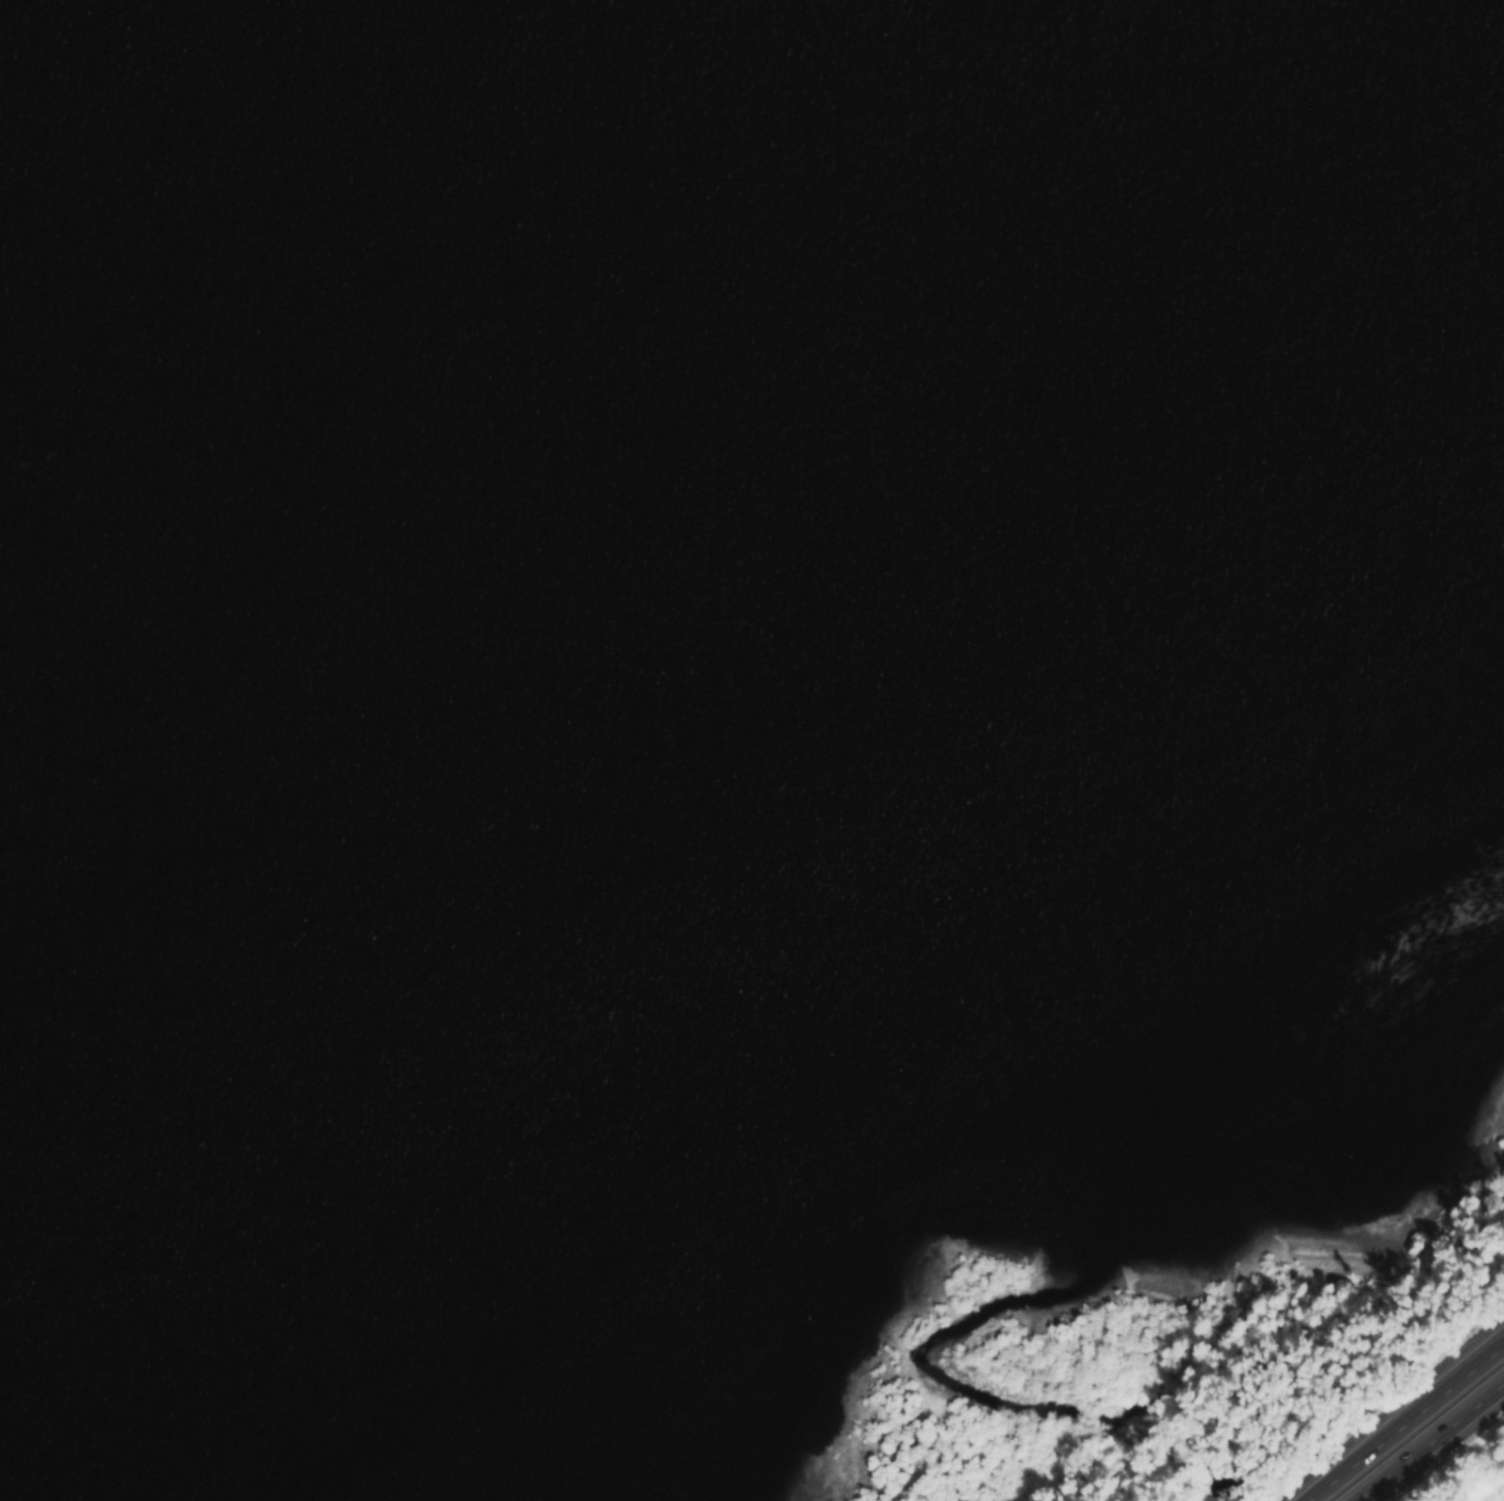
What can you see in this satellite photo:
road: (1503, 1341)
road: (1403, 1421)
road: (1427, 1439)

